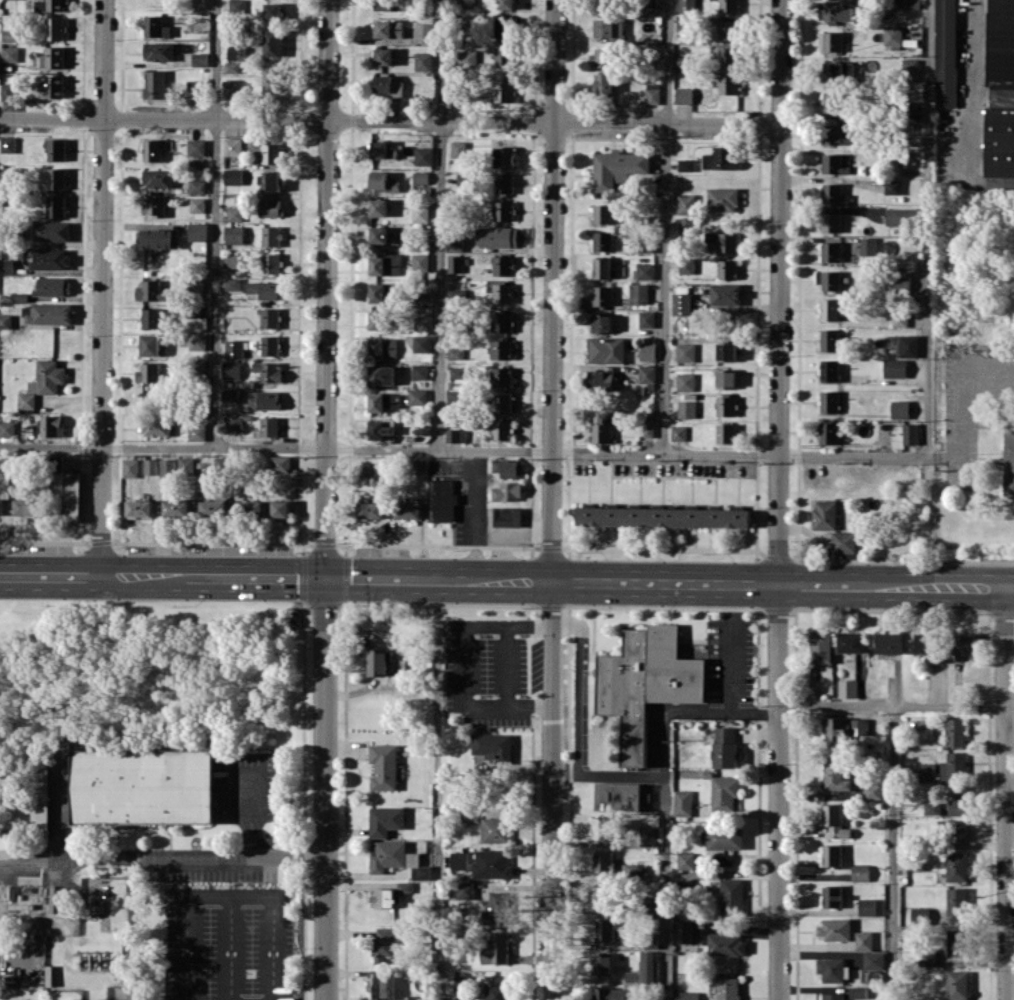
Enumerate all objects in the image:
building: (466, 2)
building: (649, 3)
building: (51, 4)
building: (388, 4)
building: (506, 4)
building: (237, 5)
building: (603, 5)
building: (729, 5)
building: (687, 6)
building: (273, 10)
building: (837, 11)
building: (683, 26)
building: (156, 27)
building: (507, 27)
building: (55, 28)
building: (388, 28)
building: (609, 28)
building: (729, 29)
building: (423, 32)
building: (893, 35)
building: (831, 41)
building: (272, 42)
building: (158, 51)
building: (945, 53)
building: (10, 54)
building: (504, 54)
building: (383, 56)
building: (54, 57)
building: (602, 57)
building: (728, 57)
building: (466, 58)
building: (199, 59)
building: (423, 61)
building: (684, 62)
building: (232, 67)
building: (910, 70)
building: (838, 72)
building: (269, 79)
building: (604, 83)
building: (155, 84)
building: (382, 84)
building: (728, 84)
building: (49, 87)
building: (229, 88)
building: (194, 89)
road: (974, 89)
building: (1000, 90)
building: (7, 91)
building: (504, 92)
building: (652, 92)
building: (684, 95)
building: (832, 103)
road: (390, 120)
building: (836, 134)
building: (8, 143)
building: (232, 146)
building: (196, 147)
building: (155, 148)
building: (56, 149)
building: (379, 149)
building: (458, 149)
building: (272, 153)
building: (424, 155)
building: (504, 156)
building: (720, 158)
building: (903, 160)
building: (686, 164)
building: (617, 167)
building: (233, 176)
building: (420, 177)
building: (157, 178)
building: (56, 179)
building: (270, 181)
building: (383, 181)
building: (502, 183)
building: (197, 186)
building: (893, 186)
building: (834, 194)
building: (722, 199)
building: (686, 203)
building: (197, 204)
building: (56, 206)
building: (154, 206)
building: (378, 207)
building: (271, 208)
building: (503, 210)
building: (235, 213)
building: (420, 213)
building: (603, 213)
building: (899, 216)
building: (831, 222)
road: (216, 223)
building: (685, 224)
road: (440, 225)
road: (666, 226)
road: (928, 229)
building: (51, 231)
building: (197, 231)
building: (233, 234)
building: (378, 234)
building: (271, 235)
building: (497, 236)
building: (156, 238)
building: (603, 240)
building: (724, 240)
building: (454, 243)
building: (867, 246)
building: (831, 251)
building: (51, 258)
building: (232, 260)
building: (420, 262)
building: (271, 263)
building: (455, 263)
building: (385, 264)
building: (686, 264)
building: (502, 265)
building: (6, 266)
building: (603, 268)
building: (727, 269)
building: (644, 271)
building: (829, 280)
building: (901, 282)
building: (232, 284)
building: (53, 286)
road: (102, 287)
building: (266, 289)
building: (151, 291)
road: (778, 291)
building: (377, 292)
building: (503, 293)
building: (638, 293)
building: (726, 294)
building: (424, 295)
building: (602, 295)
building: (682, 303)
building: (830, 309)
building: (50, 313)
building: (154, 318)
building: (270, 318)
building: (377, 319)
building: (646, 319)
building: (899, 319)
building: (5, 321)
building: (502, 321)
building: (423, 323)
building: (602, 323)
building: (830, 339)
building: (197, 341)
building: (422, 343)
building: (150, 344)
building: (269, 345)
building: (908, 345)
building: (383, 347)
building: (234, 348)
building: (502, 349)
building: (606, 349)
building: (648, 350)
building: (727, 351)
building: (685, 352)
building: (894, 368)
building: (231, 369)
building: (829, 370)
building: (269, 371)
building: (420, 371)
building: (149, 372)
building: (458, 372)
building: (647, 374)
building: (382, 375)
building: (501, 376)
building: (47, 377)
building: (727, 379)
building: (601, 380)
building: (685, 381)
building: (230, 394)
building: (417, 396)
building: (264, 400)
building: (26, 401)
building: (383, 401)
building: (829, 401)
building: (501, 402)
building: (726, 405)
road: (963, 406)
building: (686, 408)
building: (900, 409)
building: (233, 424)
building: (51, 425)
building: (156, 426)
building: (269, 426)
building: (7, 428)
building: (499, 428)
building: (648, 428)
building: (381, 429)
building: (197, 431)
building: (601, 432)
building: (829, 432)
building: (679, 433)
building: (726, 433)
building: (910, 433)
building: (456, 435)
road: (463, 451)
building: (1008, 459)
building: (280, 463)
building: (185, 465)
building: (150, 466)
building: (420, 466)
building: (130, 467)
building: (167, 467)
building: (508, 467)
building: (381, 470)
building: (507, 491)
parking lot: (464, 493)
building: (71, 495)
road: (475, 498)
road: (324, 499)
building: (441, 500)
road: (551, 500)
building: (27, 507)
building: (139, 507)
building: (1, 508)
building: (176, 508)
building: (212, 508)
building: (250, 508)
building: (280, 508)
building: (371, 509)
building: (408, 510)
building: (824, 514)
building: (507, 516)
building: (663, 517)
road: (523, 535)
building: (843, 541)
road: (495, 547)
road: (551, 547)
traffic signals: (324, 577)
road: (506, 580)
road: (593, 606)
building: (851, 642)
building: (889, 642)
building: (966, 643)
building: (928, 644)
building: (820, 646)
road: (731, 648)
road: (528, 658)
building: (377, 662)
road: (461, 664)
road: (506, 664)
parking lot: (535, 664)
parking lot: (483, 675)
building: (643, 682)
road: (578, 688)
building: (847, 688)
road: (568, 690)
road: (592, 691)
road: (891, 706)
building: (843, 729)
building: (956, 732)
road: (665, 744)
building: (493, 745)
building: (725, 747)
building: (383, 766)
building: (954, 766)
building: (926, 770)
building: (835, 777)
building: (140, 786)
parking lot: (244, 787)
road: (438, 789)
road: (777, 791)
building: (872, 791)
building: (724, 793)
road: (1006, 793)
building: (617, 795)
building: (958, 797)
building: (682, 802)
road: (248, 804)
road: (55, 808)
building: (931, 808)
building: (469, 814)
building: (385, 820)
building: (834, 820)
building: (601, 827)
building: (494, 829)
building: (957, 830)
building: (648, 836)
building: (725, 837)
building: (5, 839)
road: (169, 839)
road: (894, 853)
building: (391, 855)
building: (831, 855)
road: (163, 857)
building: (458, 860)
building: (685, 860)
building: (603, 861)
building: (491, 863)
building: (956, 866)
building: (634, 870)
building: (860, 872)
parking lot: (203, 873)
building: (404, 886)
road: (665, 888)
building: (464, 890)
building: (603, 895)
building: (831, 896)
building: (385, 897)
building: (731, 897)
building: (957, 901)
road: (272, 904)
building: (866, 906)
building: (497, 908)
building: (921, 915)
building: (834, 928)
building: (604, 929)
building: (683, 931)
building: (863, 940)
building: (386, 942)
building: (956, 942)
parking lot: (228, 943)
building: (726, 944)
road: (186, 947)
road: (230, 947)
building: (496, 949)
building: (927, 958)
building: (873, 960)
building: (602, 964)
building: (644, 968)
building: (833, 969)
building: (461, 983)
building: (380, 985)
building: (957, 985)
building: (728, 988)
building: (496, 989)
building: (858, 991)
building: (607, 994)
building: (687, 995)
building: (833, 996)
building: (415, 997)

